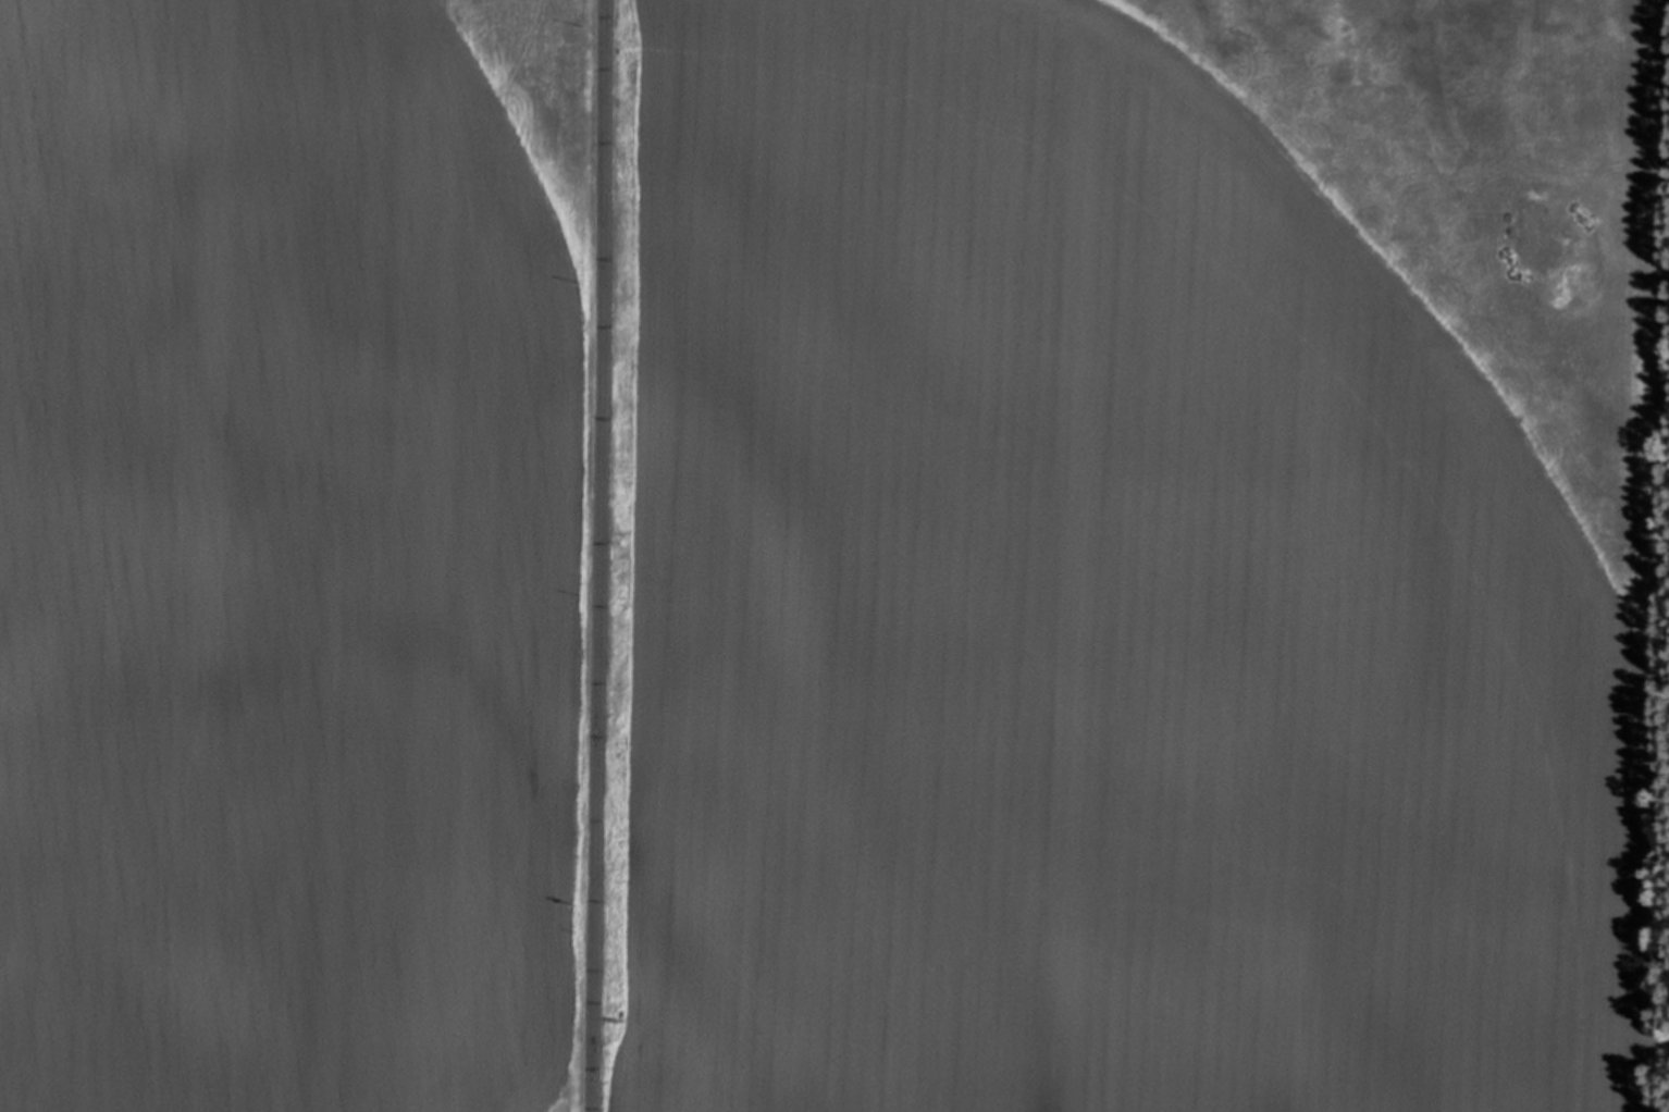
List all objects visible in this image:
crop: (820, 555)
road: (601, 556)
road: (1656, 590)
road: (1657, 1043)

